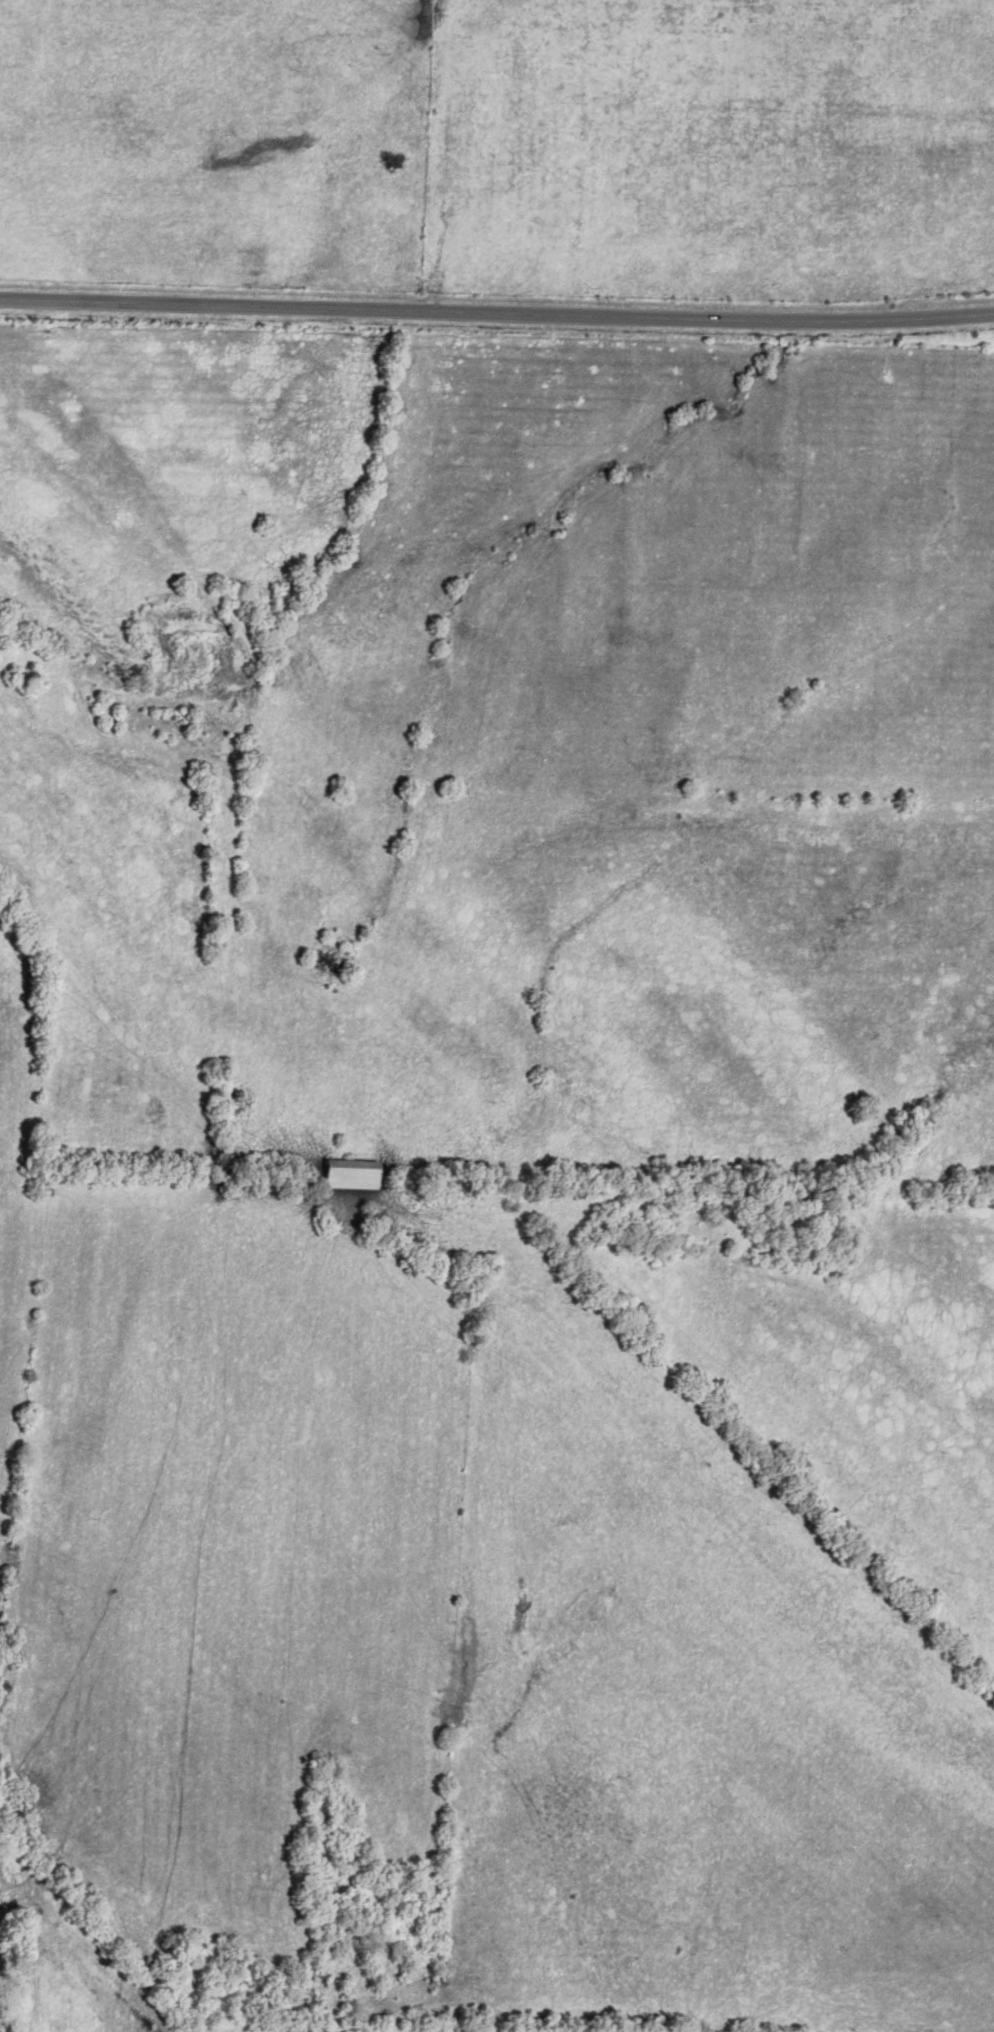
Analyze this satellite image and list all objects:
road: (497, 313)
building: (348, 1175)

